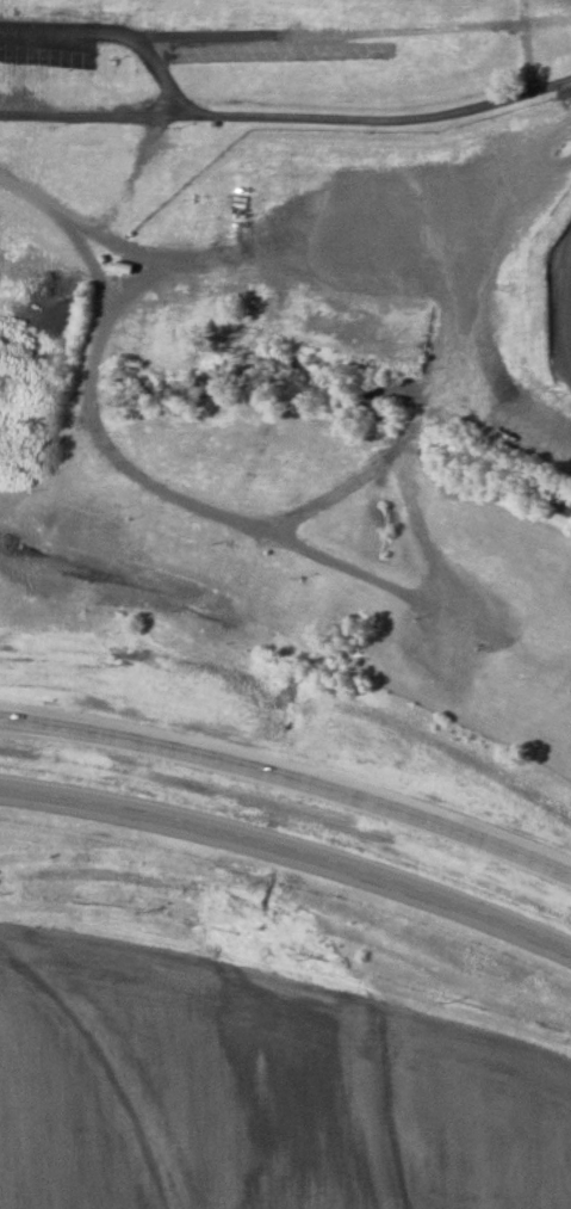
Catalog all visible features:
road: (114, 33)
road: (527, 48)
road: (287, 119)
road: (281, 240)
road: (290, 776)
road: (290, 850)

